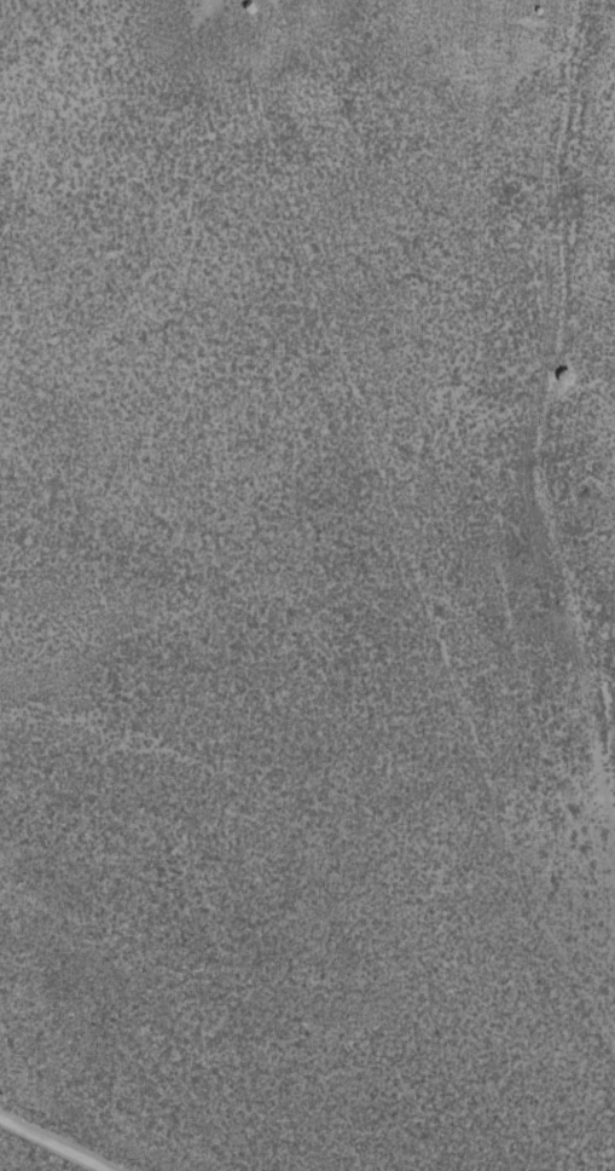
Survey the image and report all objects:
road: (48, 1146)

